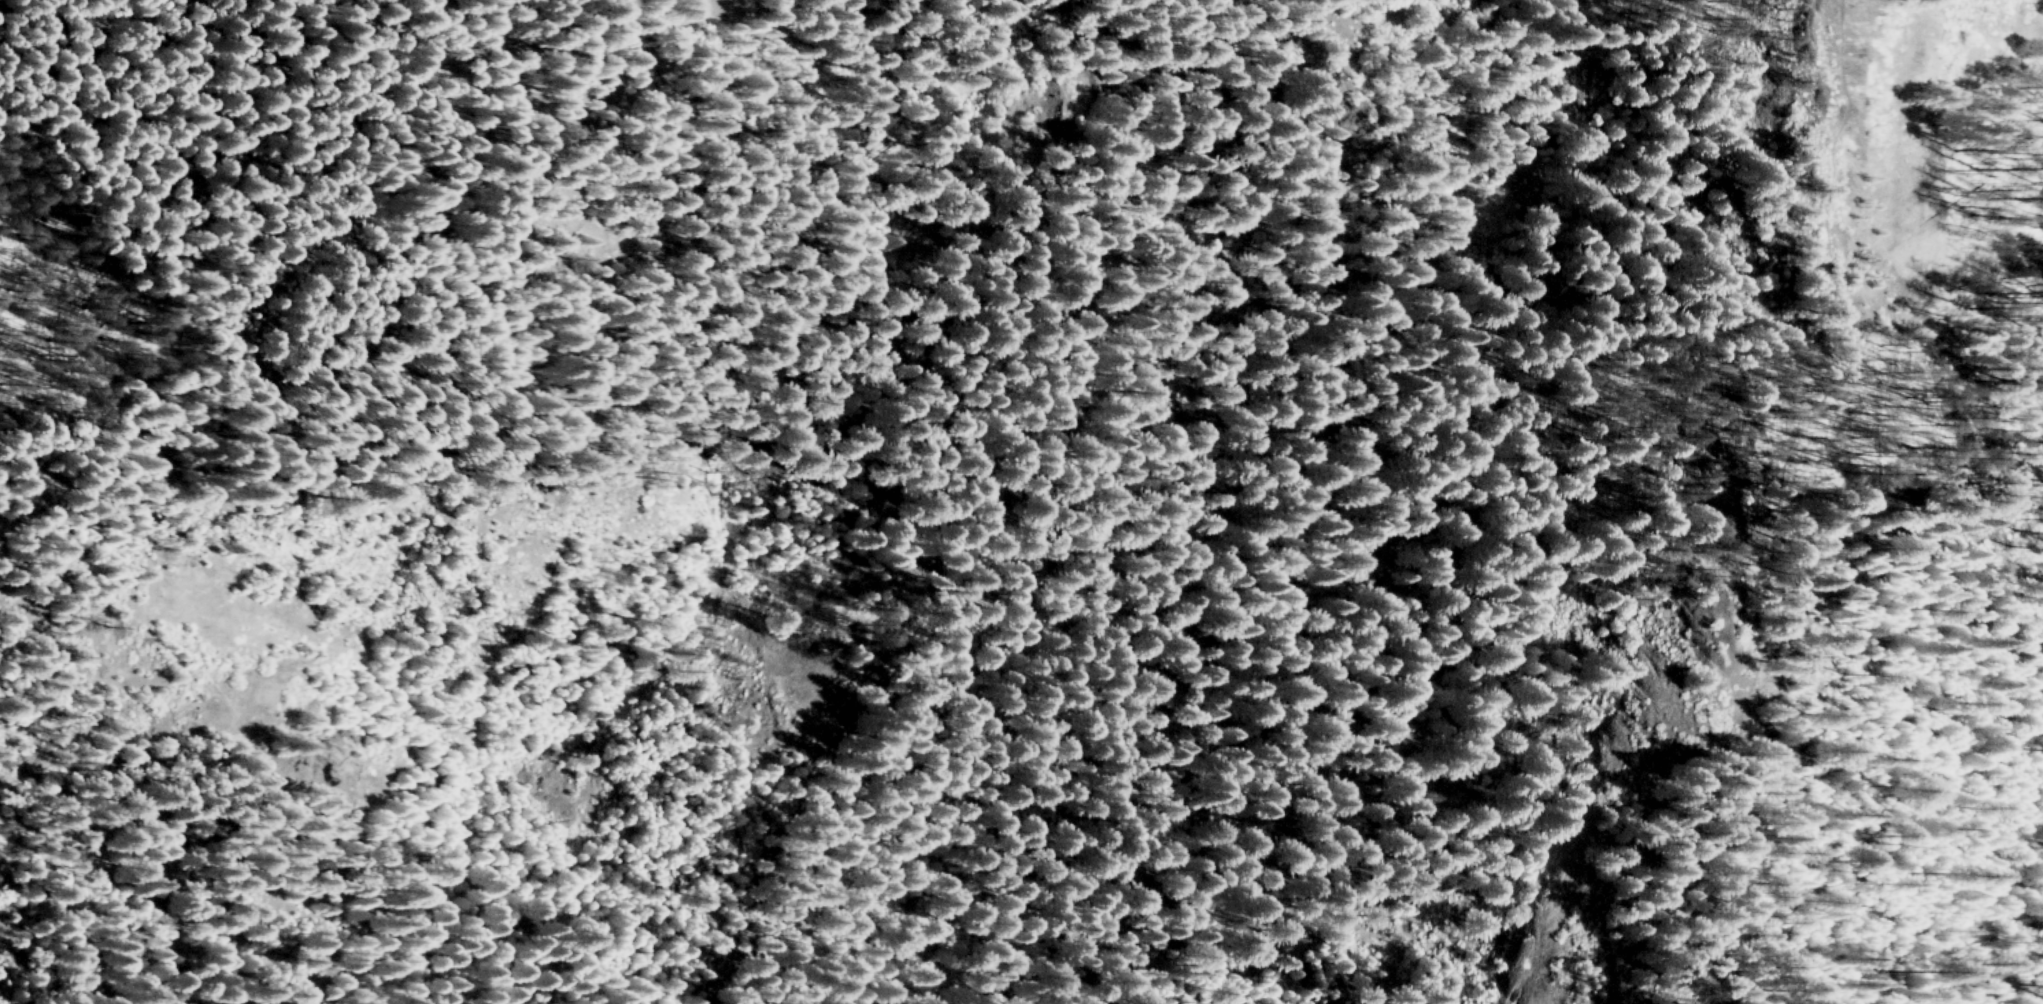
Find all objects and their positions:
road: (1816, 230)
road: (1903, 516)
road: (1721, 732)

